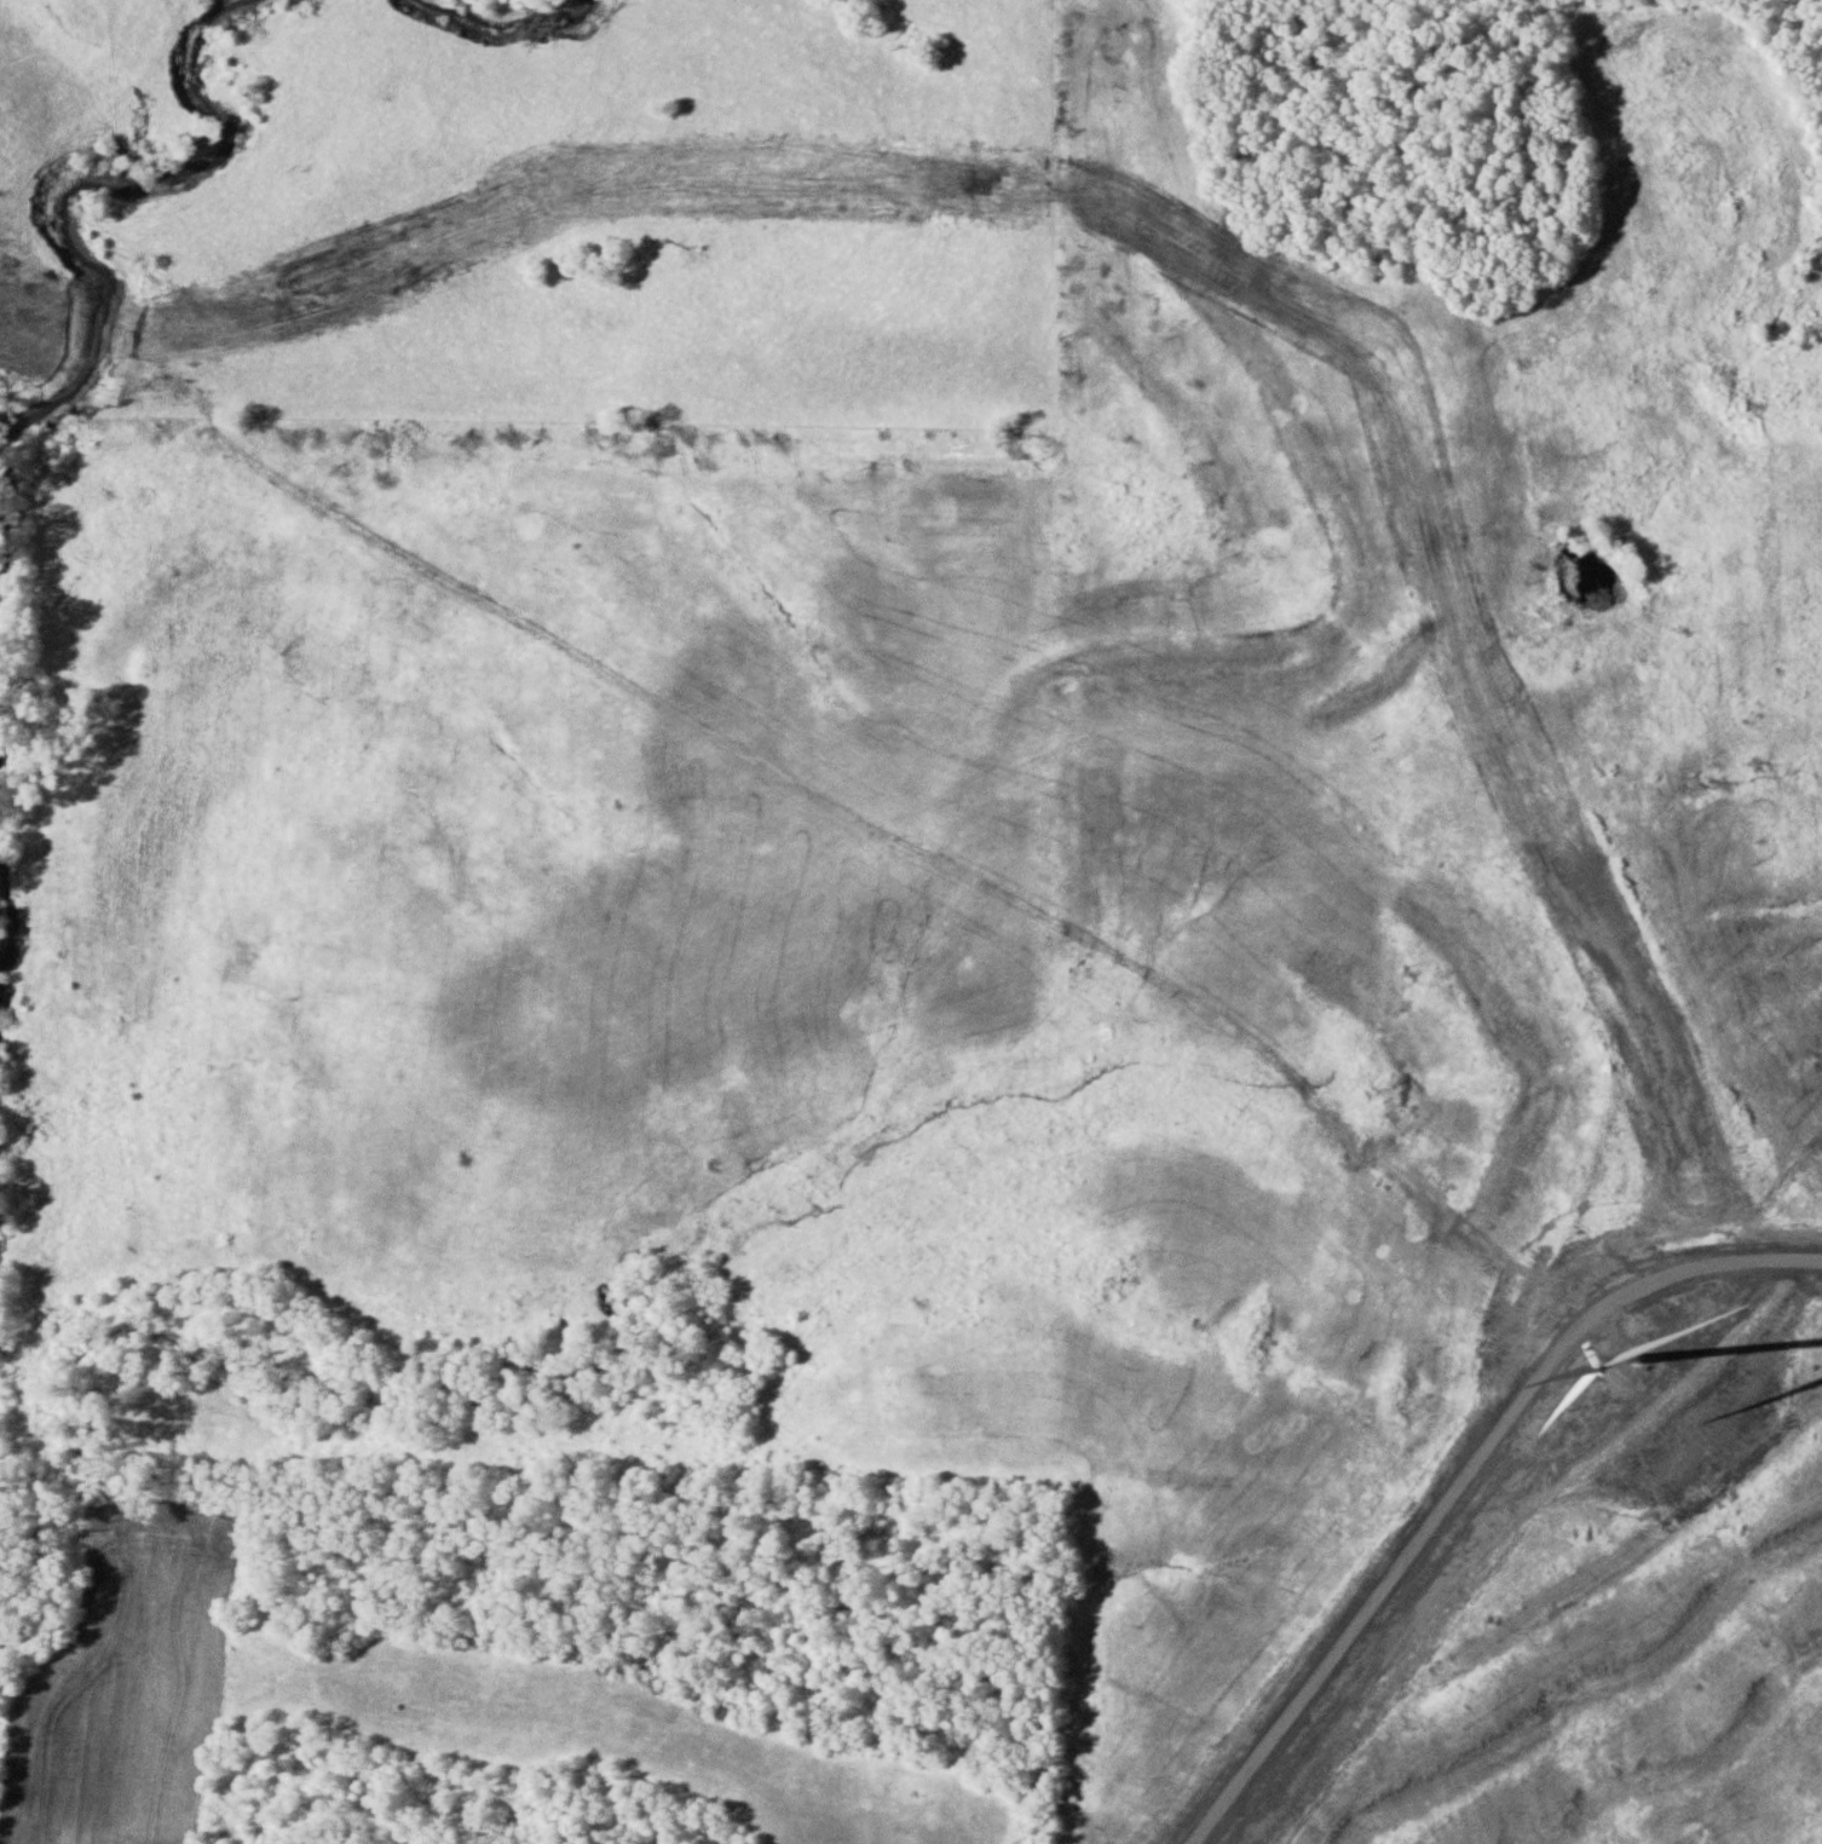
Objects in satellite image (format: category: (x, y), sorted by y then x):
wind turbine: (1607, 1350)

